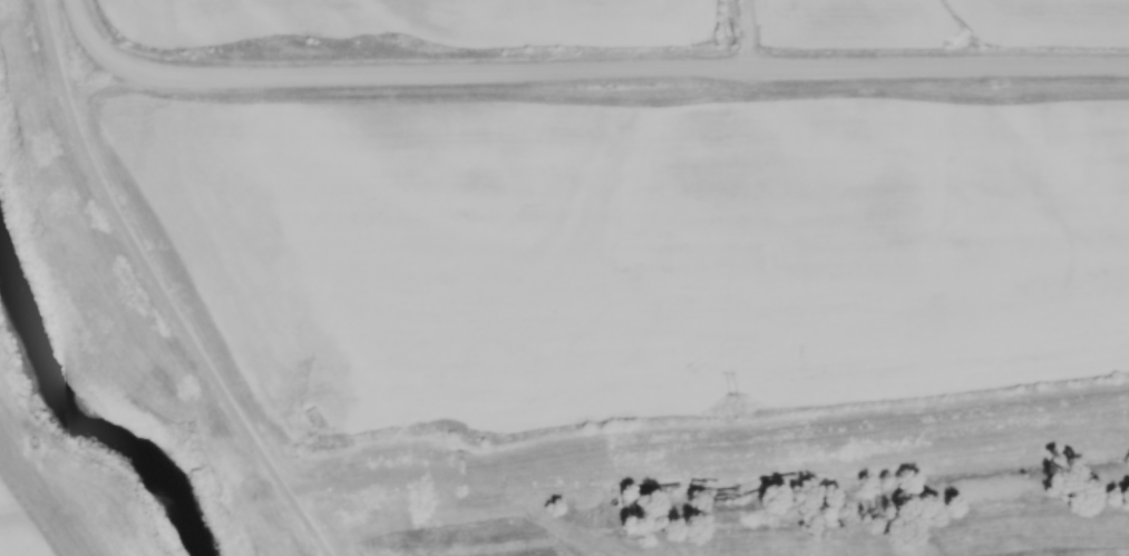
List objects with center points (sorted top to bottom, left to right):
crop: (625, 22)
road: (84, 29)
road: (755, 33)
power tower: (738, 38)
road: (613, 68)
crop: (629, 245)
road: (160, 289)
power tower: (741, 391)
river: (86, 414)
road: (529, 482)
road: (40, 499)

